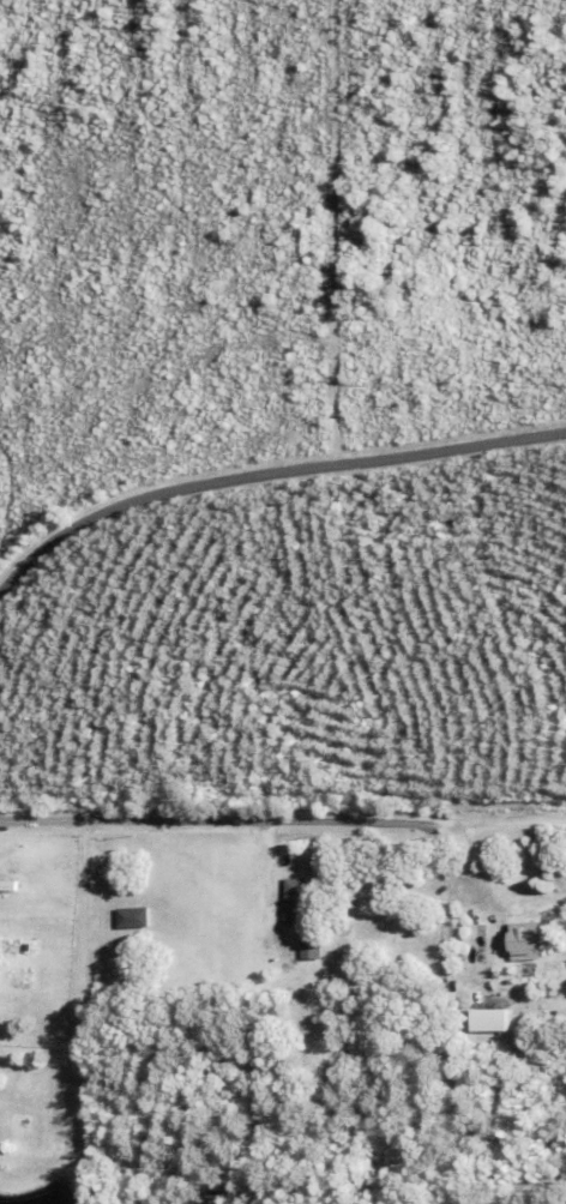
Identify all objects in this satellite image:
road: (333, 231)
road: (267, 474)
road: (516, 817)
road: (233, 821)
building: (7, 885)
building: (295, 901)
building: (131, 917)
building: (530, 943)
building: (470, 945)
building: (311, 946)
building: (329, 974)
building: (450, 1005)
building: (490, 1019)
building: (318, 1035)
building: (28, 1060)
building: (488, 1127)

